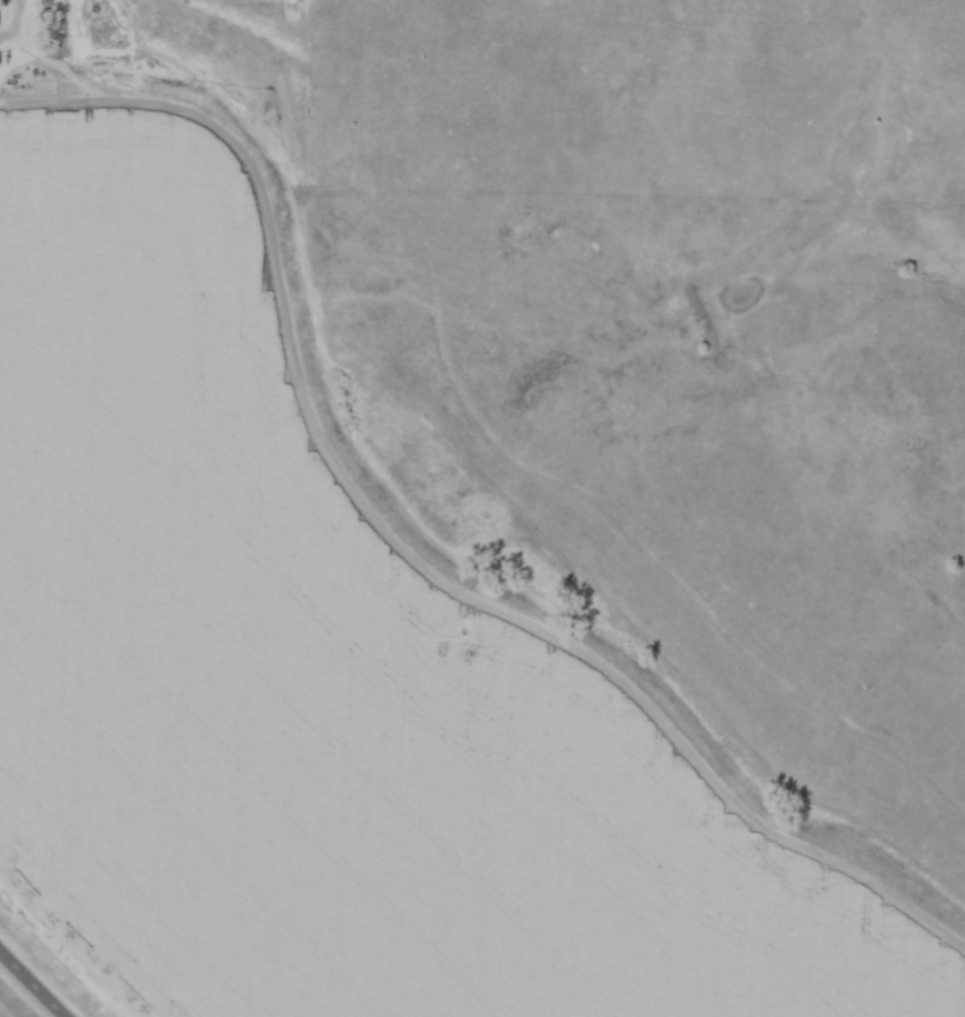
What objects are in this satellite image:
road: (33, 983)

